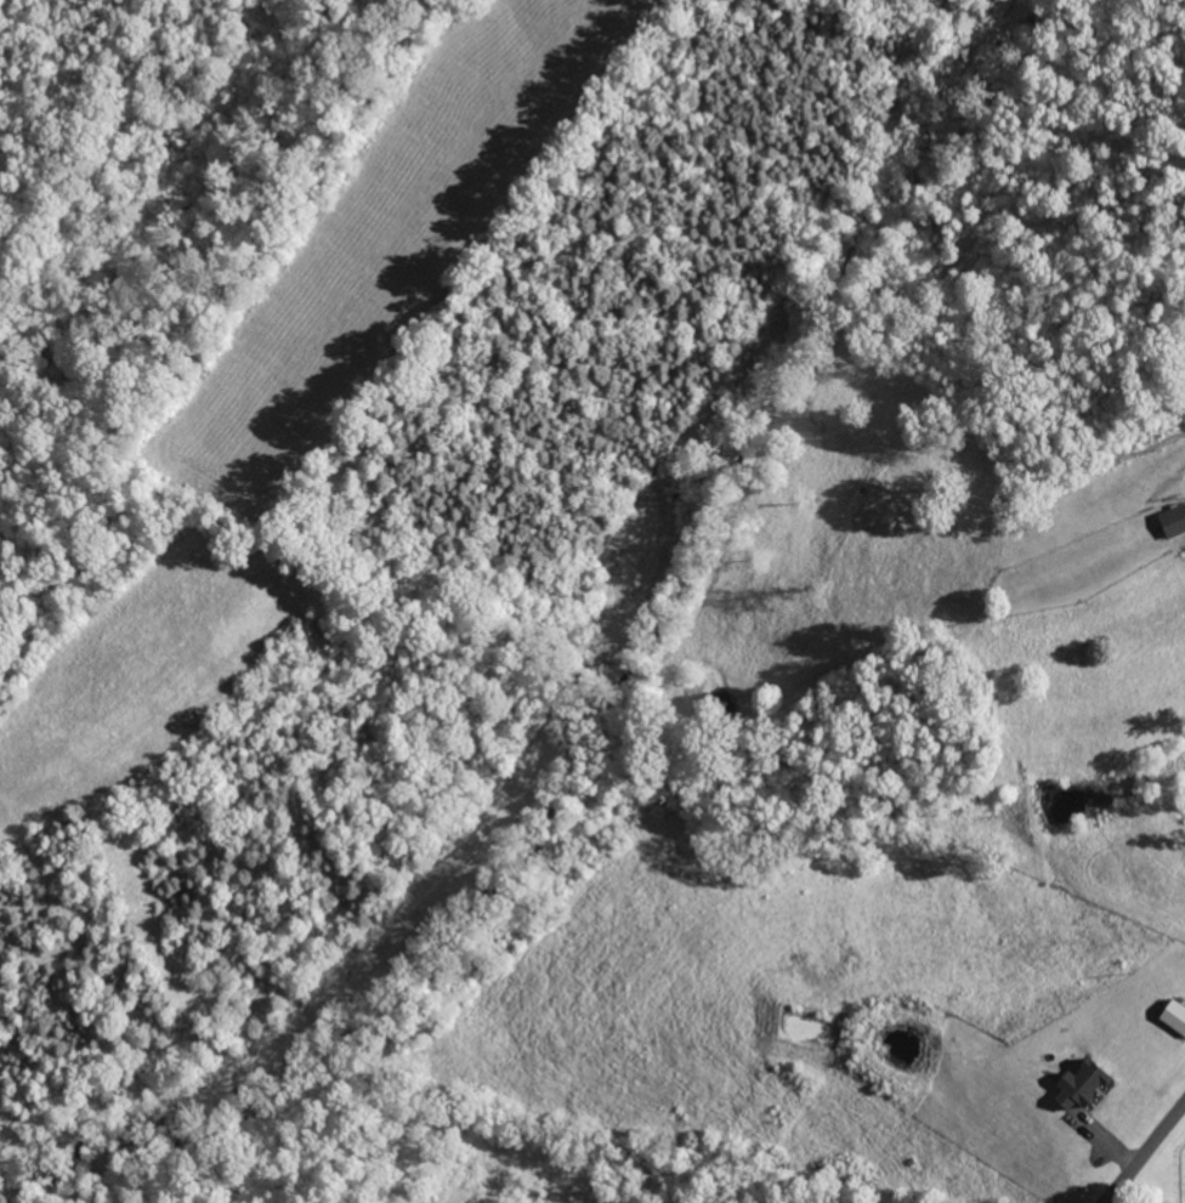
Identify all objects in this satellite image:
building: (1172, 521)
building: (1173, 1017)
building: (1076, 1085)
road: (1135, 1142)

